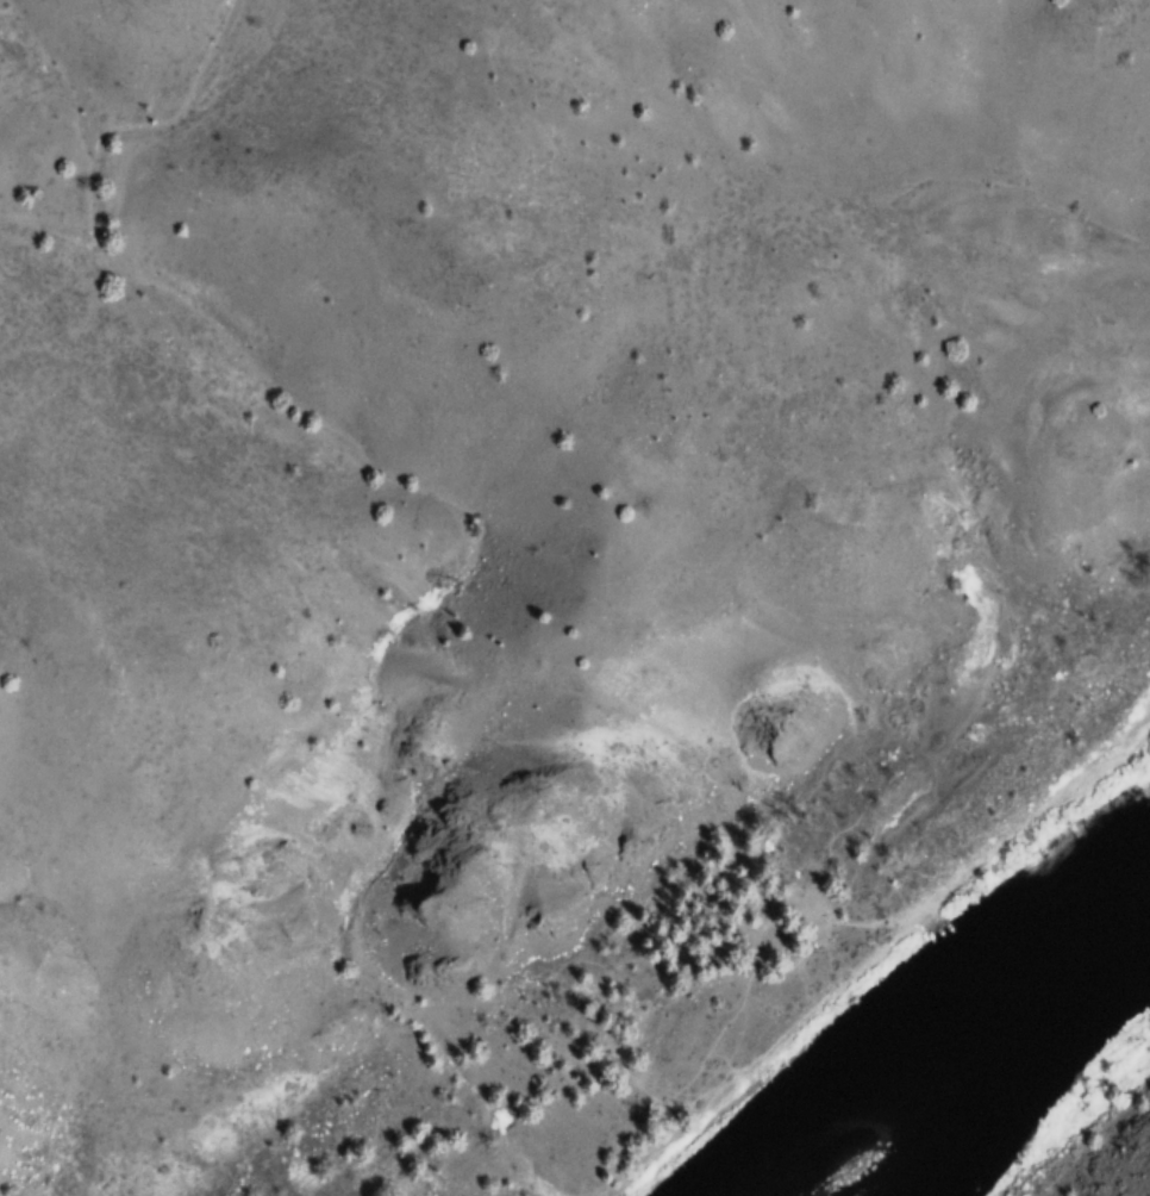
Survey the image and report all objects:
river: (964, 1048)

